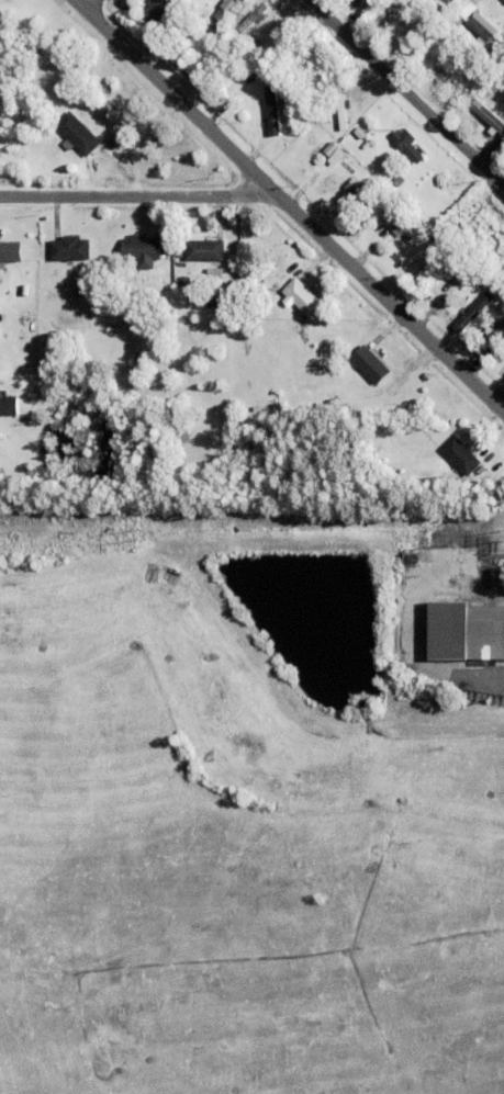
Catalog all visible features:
building: (447, 2)
road: (88, 3)
building: (467, 7)
building: (158, 9)
building: (397, 11)
building: (222, 13)
building: (254, 15)
building: (455, 19)
building: (485, 32)
building: (456, 57)
road: (406, 91)
building: (485, 108)
building: (273, 110)
building: (344, 111)
building: (360, 132)
building: (76, 134)
building: (408, 145)
building: (331, 148)
building: (337, 156)
building: (388, 168)
building: (399, 181)
building: (356, 187)
road: (139, 194)
road: (290, 204)
building: (402, 224)
building: (459, 224)
building: (489, 229)
building: (142, 247)
building: (69, 248)
building: (204, 249)
building: (10, 251)
building: (250, 281)
building: (80, 291)
building: (302, 296)
building: (474, 311)
building: (22, 315)
building: (112, 328)
building: (494, 331)
building: (370, 364)
building: (9, 405)
building: (461, 455)
building: (497, 575)
building: (466, 630)
building: (462, 663)

